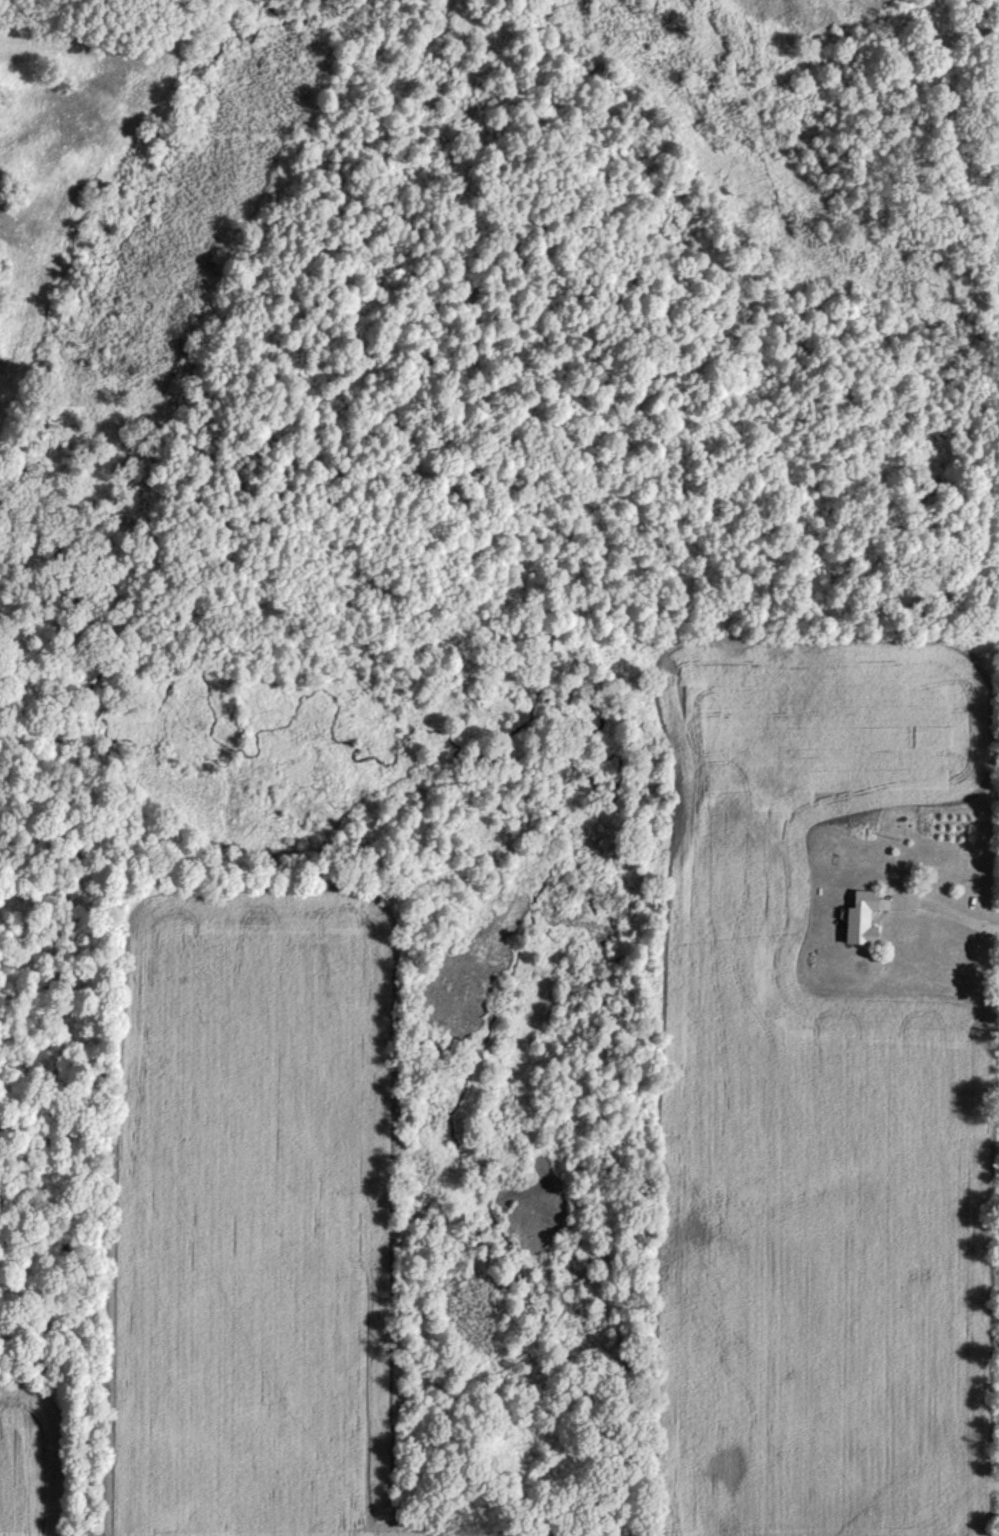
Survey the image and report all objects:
road: (945, 920)
building: (859, 923)

